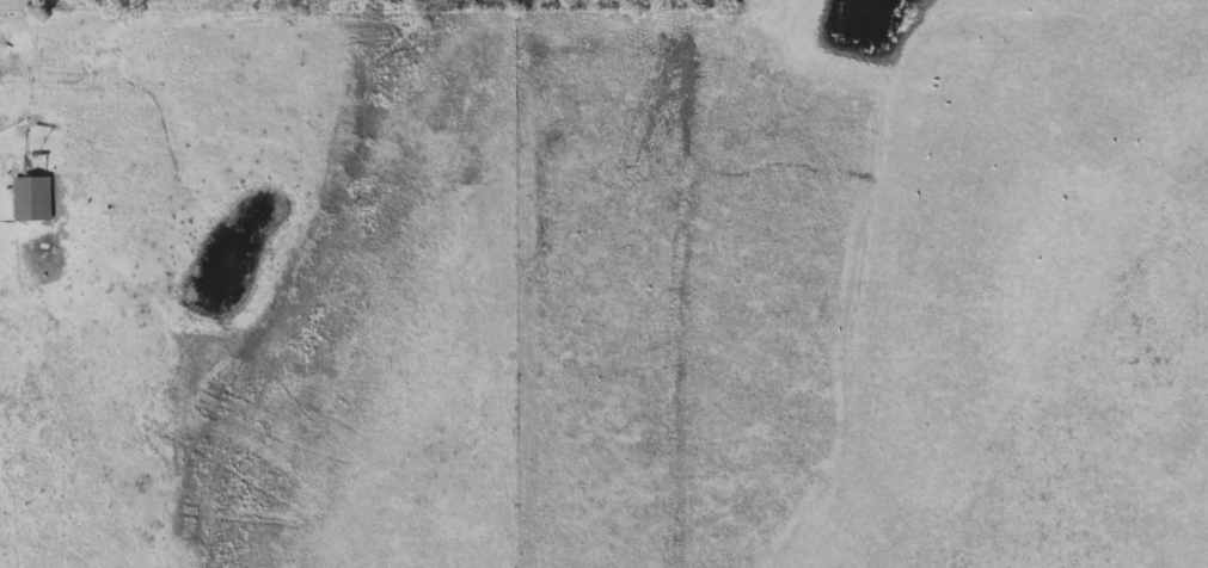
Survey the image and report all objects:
building: (1096, 191)
building: (33, 198)

